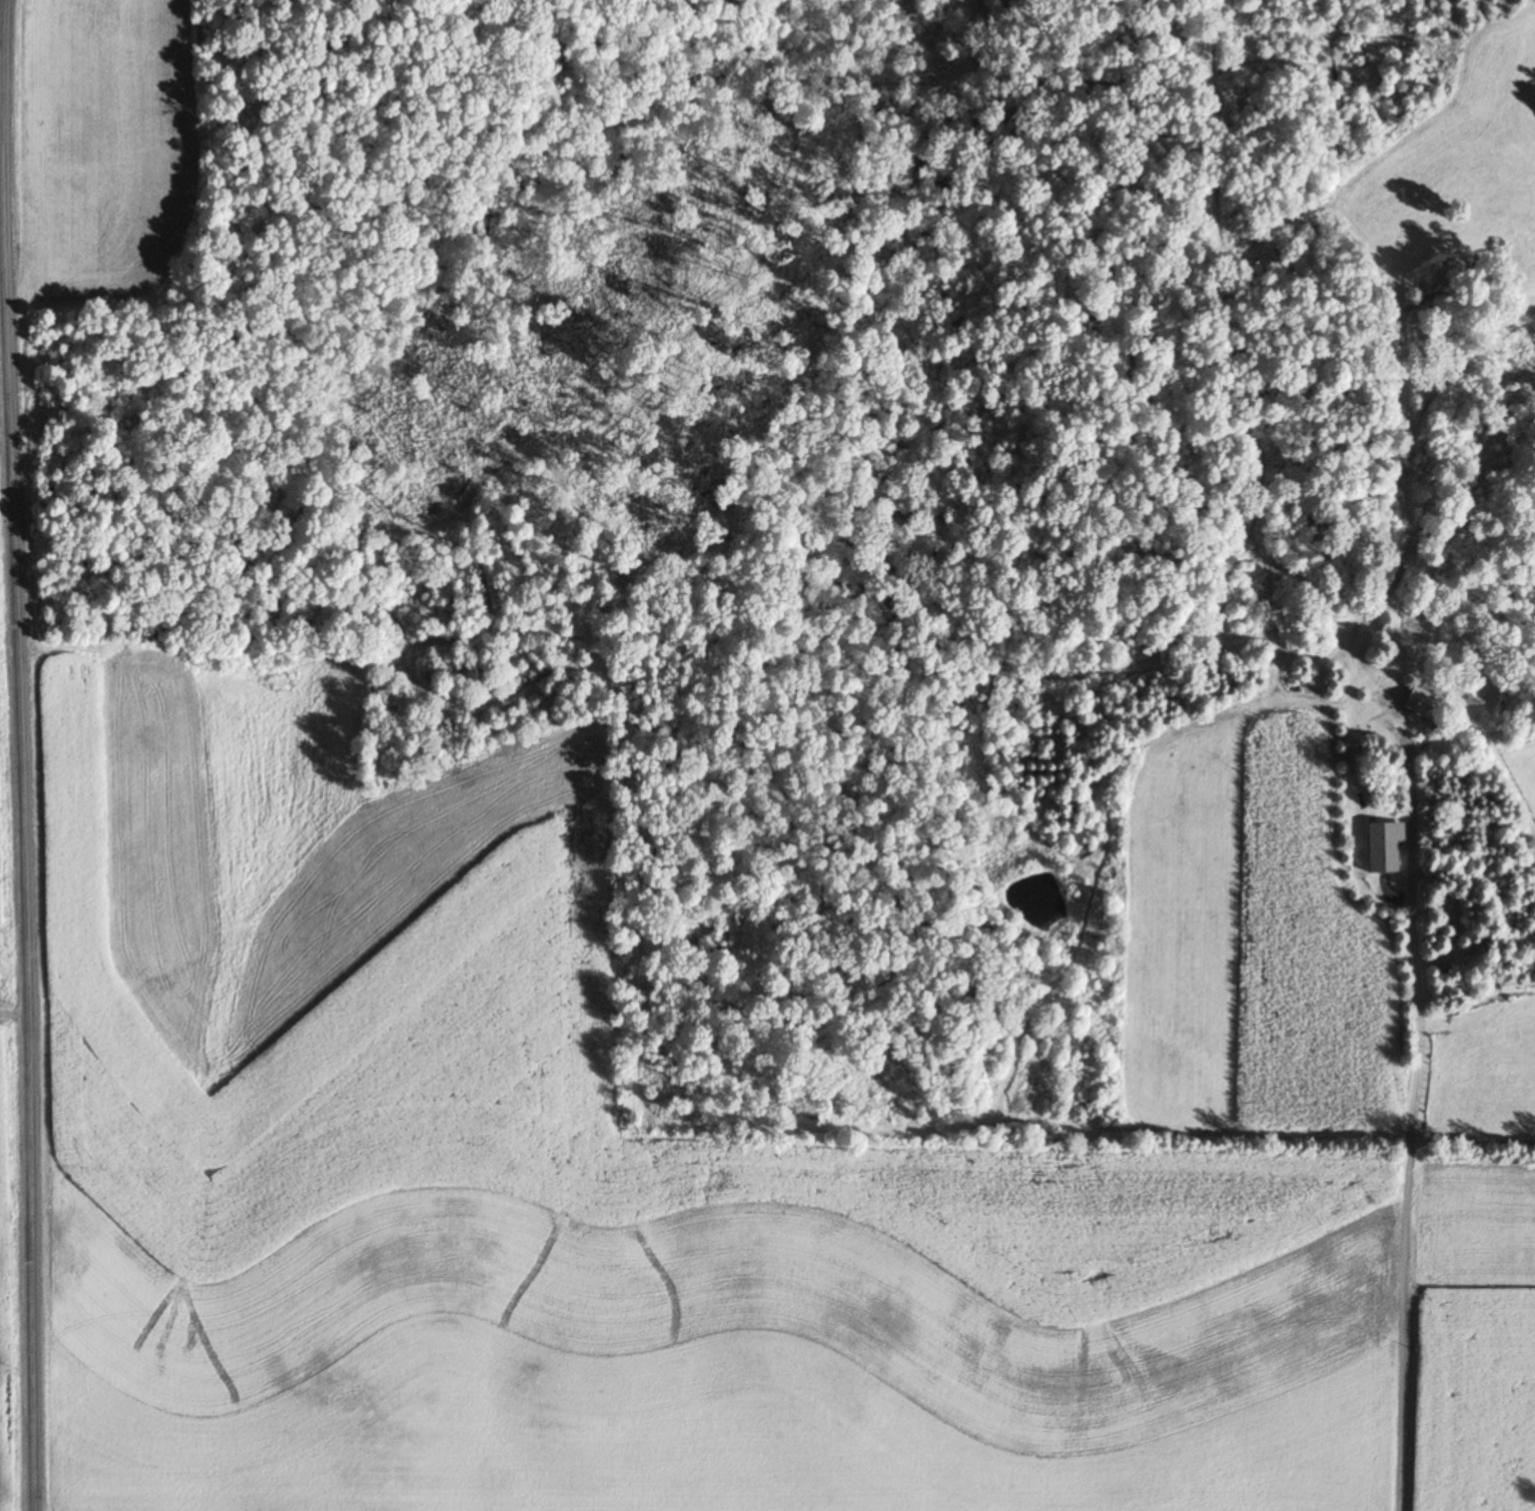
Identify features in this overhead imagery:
building: (1422, 702)
building: (1386, 703)
road: (17, 755)
building: (1385, 848)
road: (861, 1349)

